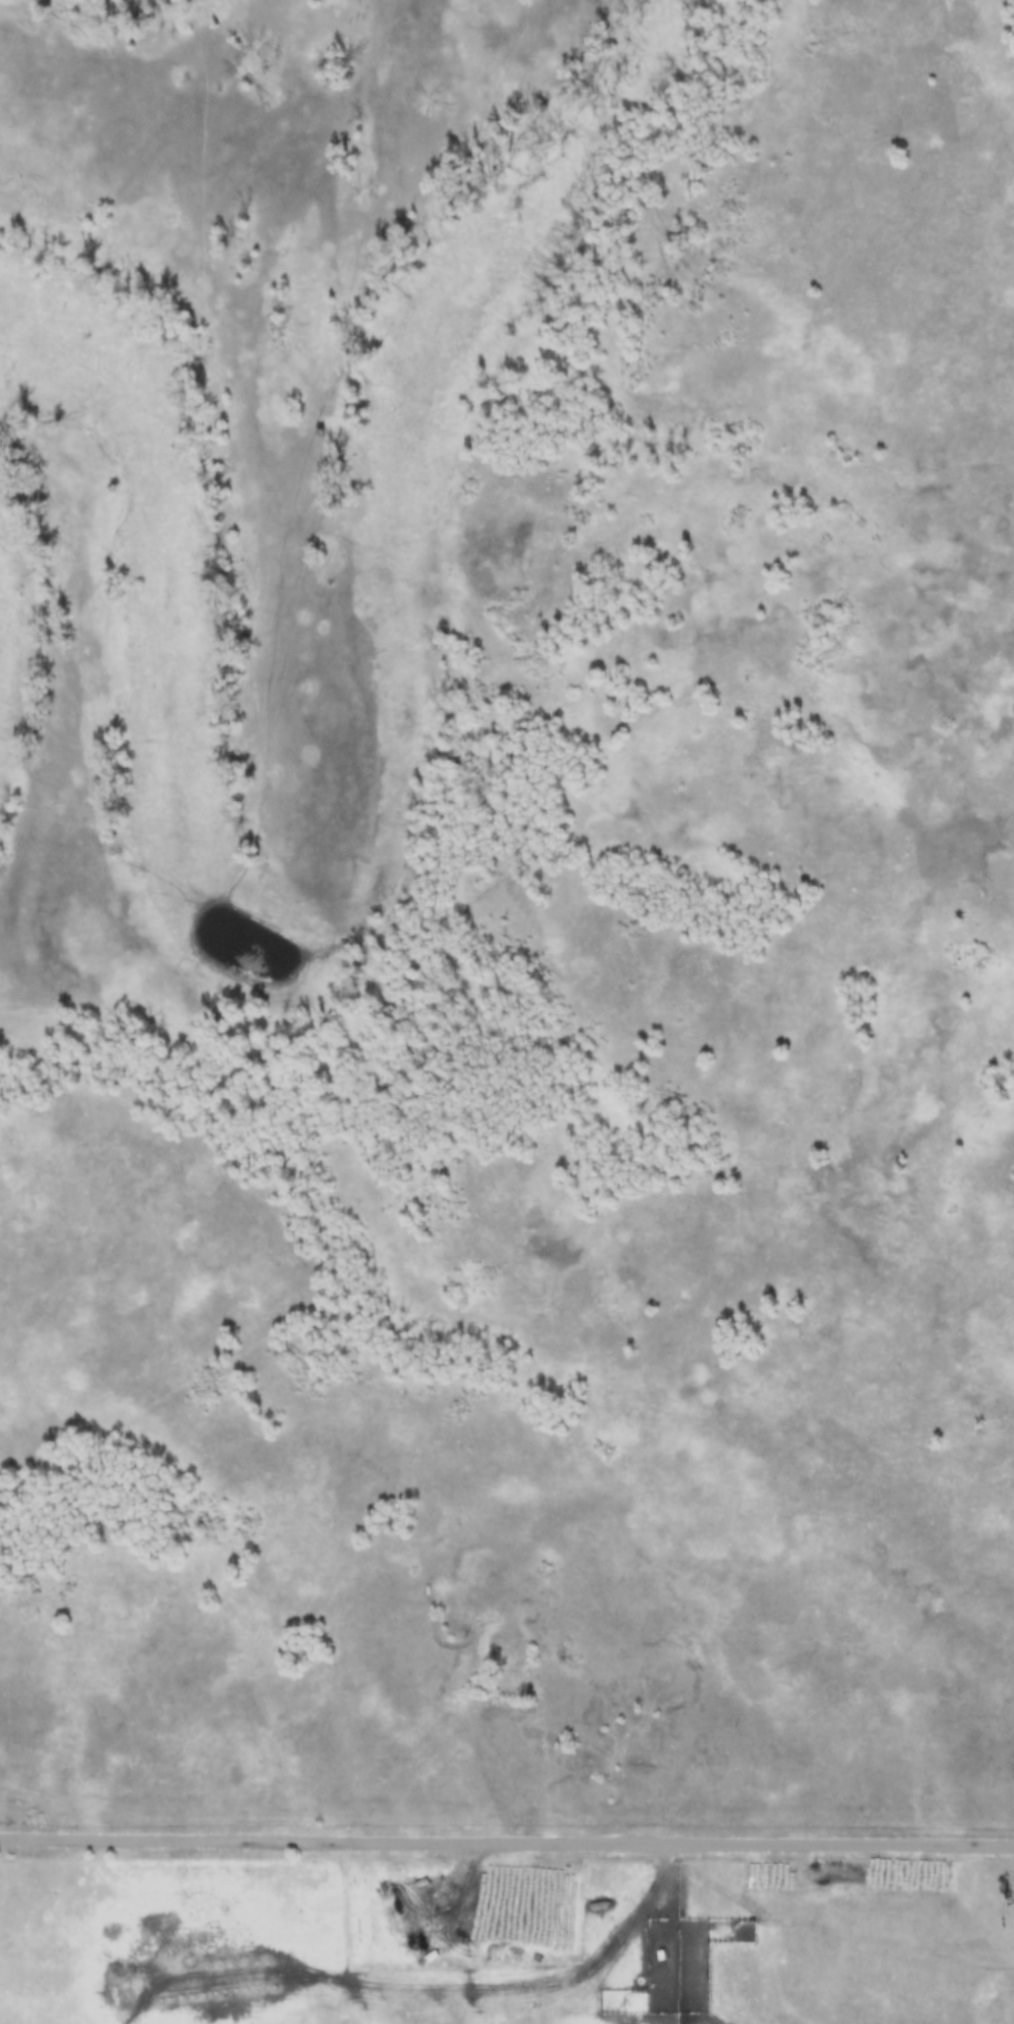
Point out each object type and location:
road: (507, 1840)

